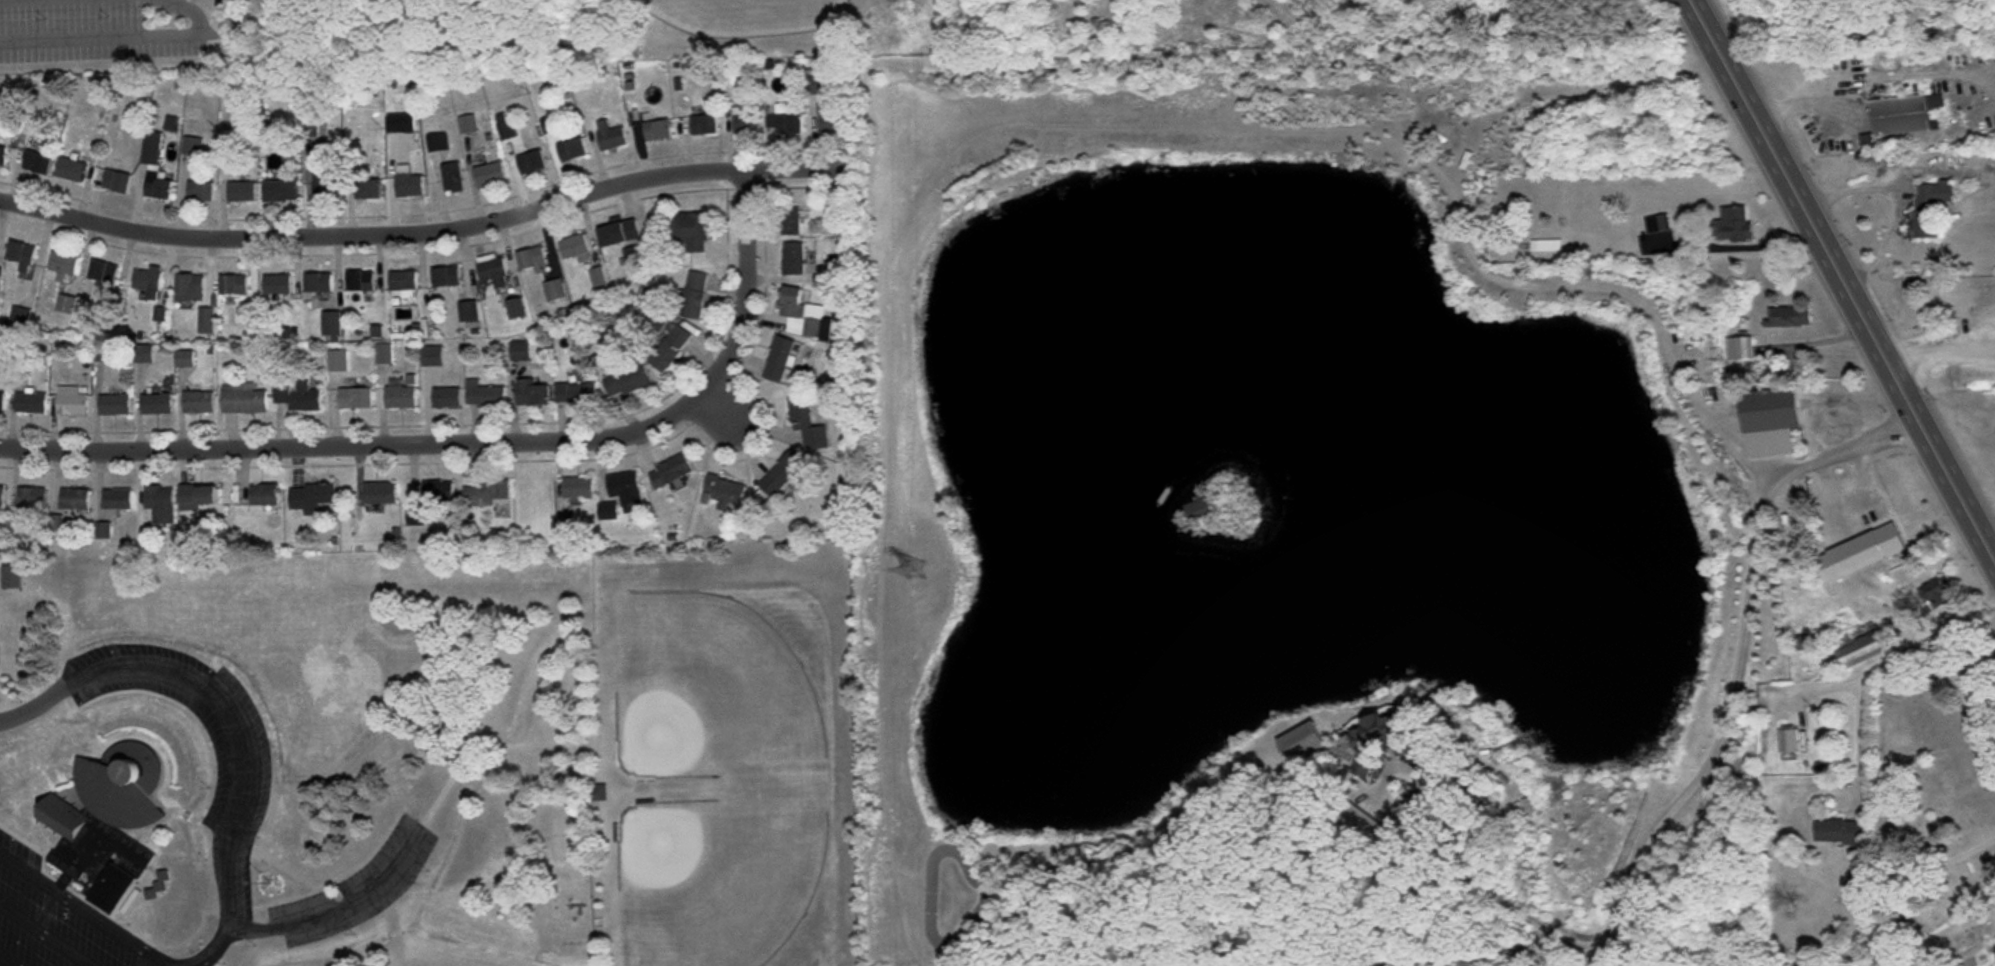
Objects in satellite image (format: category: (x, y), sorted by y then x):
road: (188, 11)
park: (745, 14)
road: (100, 40)
building: (815, 86)
building: (1903, 114)
building: (787, 120)
building: (831, 121)
building: (400, 123)
building: (747, 123)
building: (467, 124)
building: (703, 125)
building: (657, 130)
building: (506, 131)
building: (610, 136)
building: (437, 143)
building: (1867, 143)
building: (571, 150)
road: (1416, 151)
building: (2, 155)
building: (36, 162)
building: (531, 163)
building: (155, 168)
building: (69, 170)
building: (489, 175)
building: (451, 176)
building: (116, 182)
building: (408, 183)
building: (325, 187)
building: (368, 189)
building: (281, 190)
building: (200, 191)
building: (242, 191)
building: (1935, 193)
building: (834, 215)
building: (791, 221)
building: (1657, 224)
building: (1733, 224)
building: (1926, 224)
road: (451, 227)
building: (692, 231)
building: (619, 233)
building: (1545, 246)
building: (573, 247)
building: (20, 255)
building: (793, 259)
building: (532, 260)
building: (63, 264)
building: (492, 271)
building: (102, 273)
road: (1842, 277)
building: (445, 278)
building: (598, 279)
building: (359, 281)
building: (147, 282)
building: (403, 282)
building: (318, 283)
building: (277, 284)
building: (233, 285)
building: (189, 288)
building: (554, 290)
building: (694, 294)
building: (517, 309)
building: (799, 311)
building: (468, 313)
building: (1788, 317)
building: (205, 321)
building: (331, 323)
road: (1940, 345)
building: (671, 348)
building: (1739, 349)
building: (383, 354)
building: (432, 357)
building: (184, 359)
building: (780, 359)
building: (337, 361)
building: (627, 382)
building: (532, 393)
building: (576, 393)
building: (484, 395)
building: (297, 396)
building: (400, 398)
building: (355, 399)
building: (446, 399)
building: (243, 400)
building: (1, 401)
building: (71, 402)
building: (198, 402)
building: (30, 403)
building: (156, 404)
building: (114, 405)
road: (727, 410)
building: (1771, 410)
building: (808, 424)
road: (475, 440)
road: (1845, 445)
building: (671, 471)
building: (783, 473)
building: (578, 489)
building: (626, 490)
building: (438, 492)
building: (488, 493)
building: (726, 493)
building: (379, 494)
building: (264, 495)
building: (1, 496)
building: (197, 497)
building: (310, 498)
building: (31, 499)
building: (74, 500)
building: (117, 500)
building: (160, 504)
building: (1197, 510)
building: (608, 511)
building: (415, 517)
building: (1860, 554)
power tower: (917, 568)
building: (9, 582)
building: (1938, 594)
building: (1862, 644)
park: (706, 689)
road: (241, 739)
building: (1789, 740)
building: (1351, 743)
park: (1932, 789)
building: (596, 793)
building: (104, 825)
building: (1842, 832)
road: (1962, 849)
park: (715, 876)
road: (79, 902)
road: (342, 903)
road: (49, 933)
road: (12, 957)

